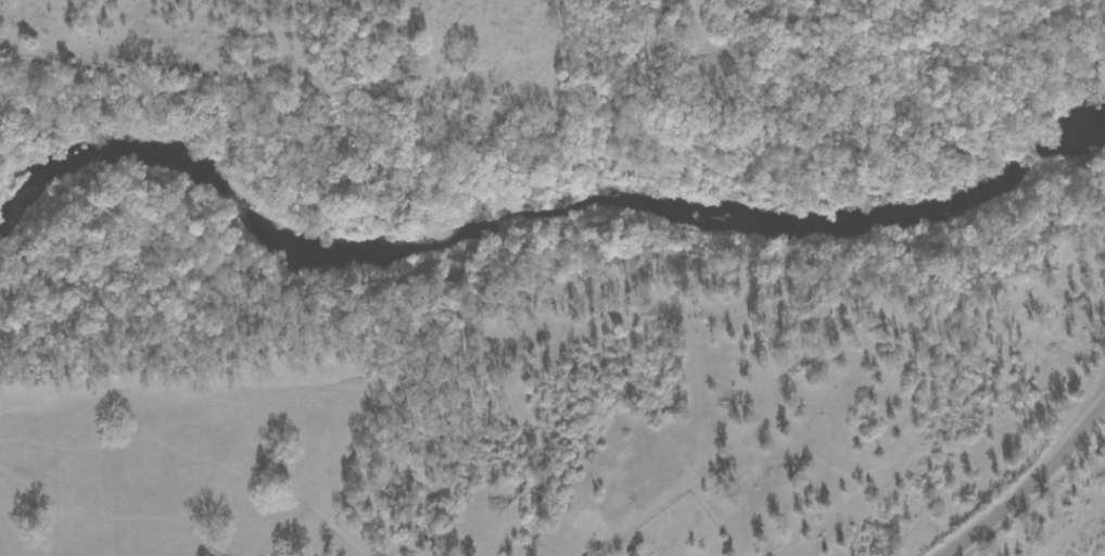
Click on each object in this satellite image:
road: (1025, 482)
road: (801, 511)
road: (766, 542)

